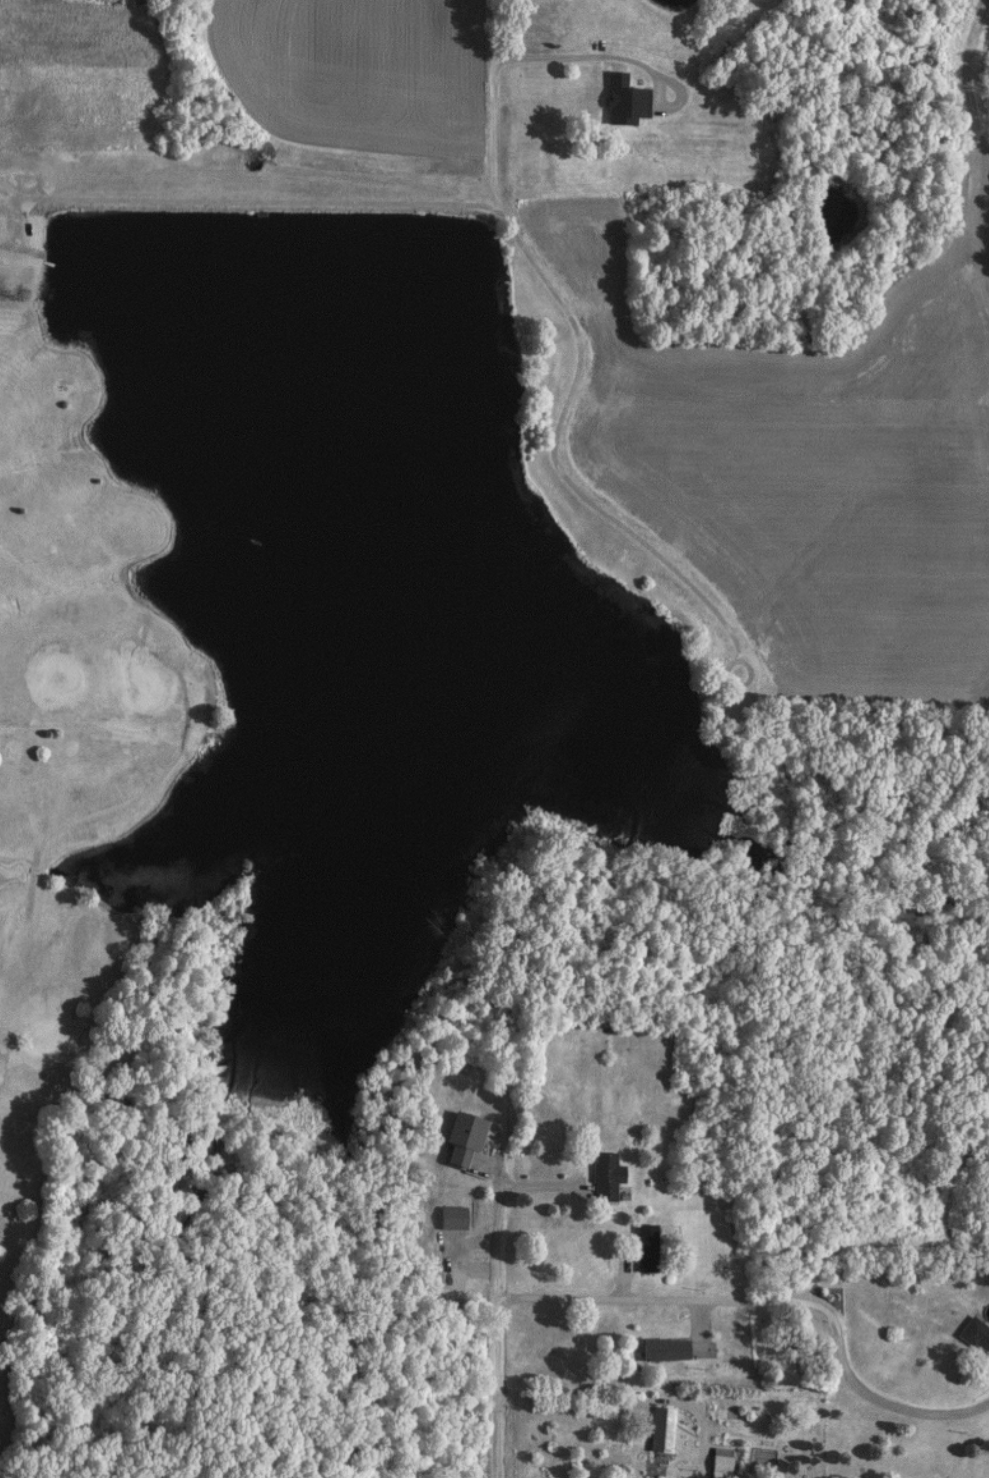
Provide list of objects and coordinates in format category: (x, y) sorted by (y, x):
road: (494, 60)
road: (605, 65)
building: (623, 99)
road: (11, 212)
road: (11, 240)
building: (458, 1137)
building: (600, 1176)
building: (638, 1248)
road: (490, 1293)
road: (753, 1301)
building: (973, 1338)
building: (659, 1350)
road: (580, 1396)
road: (866, 1396)
building: (655, 1429)
building: (715, 1463)

